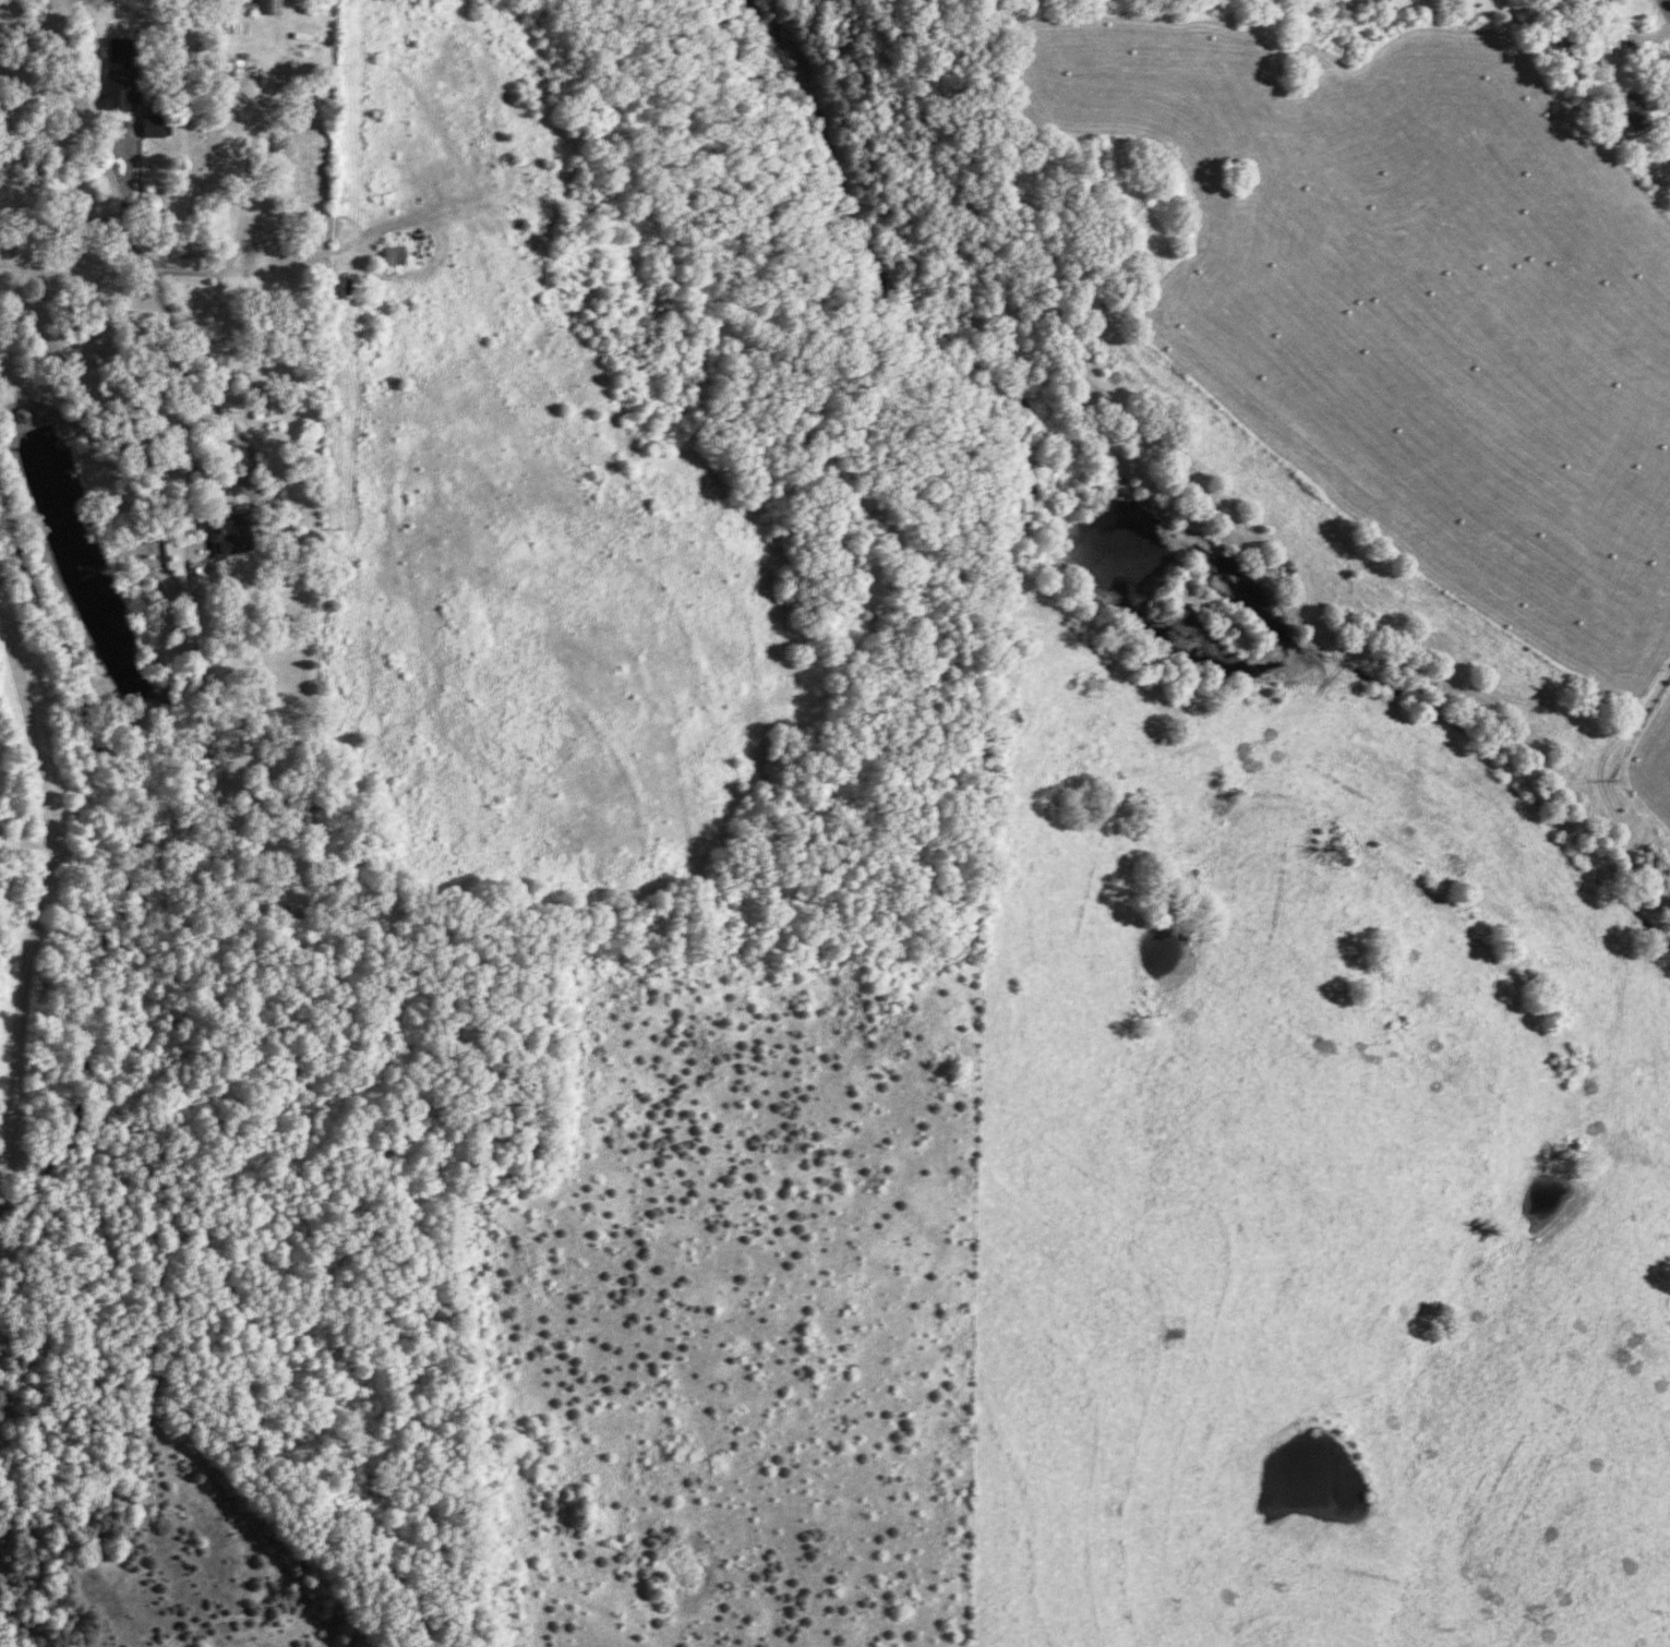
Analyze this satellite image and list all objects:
building: (274, 7)
road: (1665, 8)
building: (1612, 56)
building: (123, 73)
building: (1638, 111)
building: (157, 124)
building: (398, 254)
building: (228, 533)

